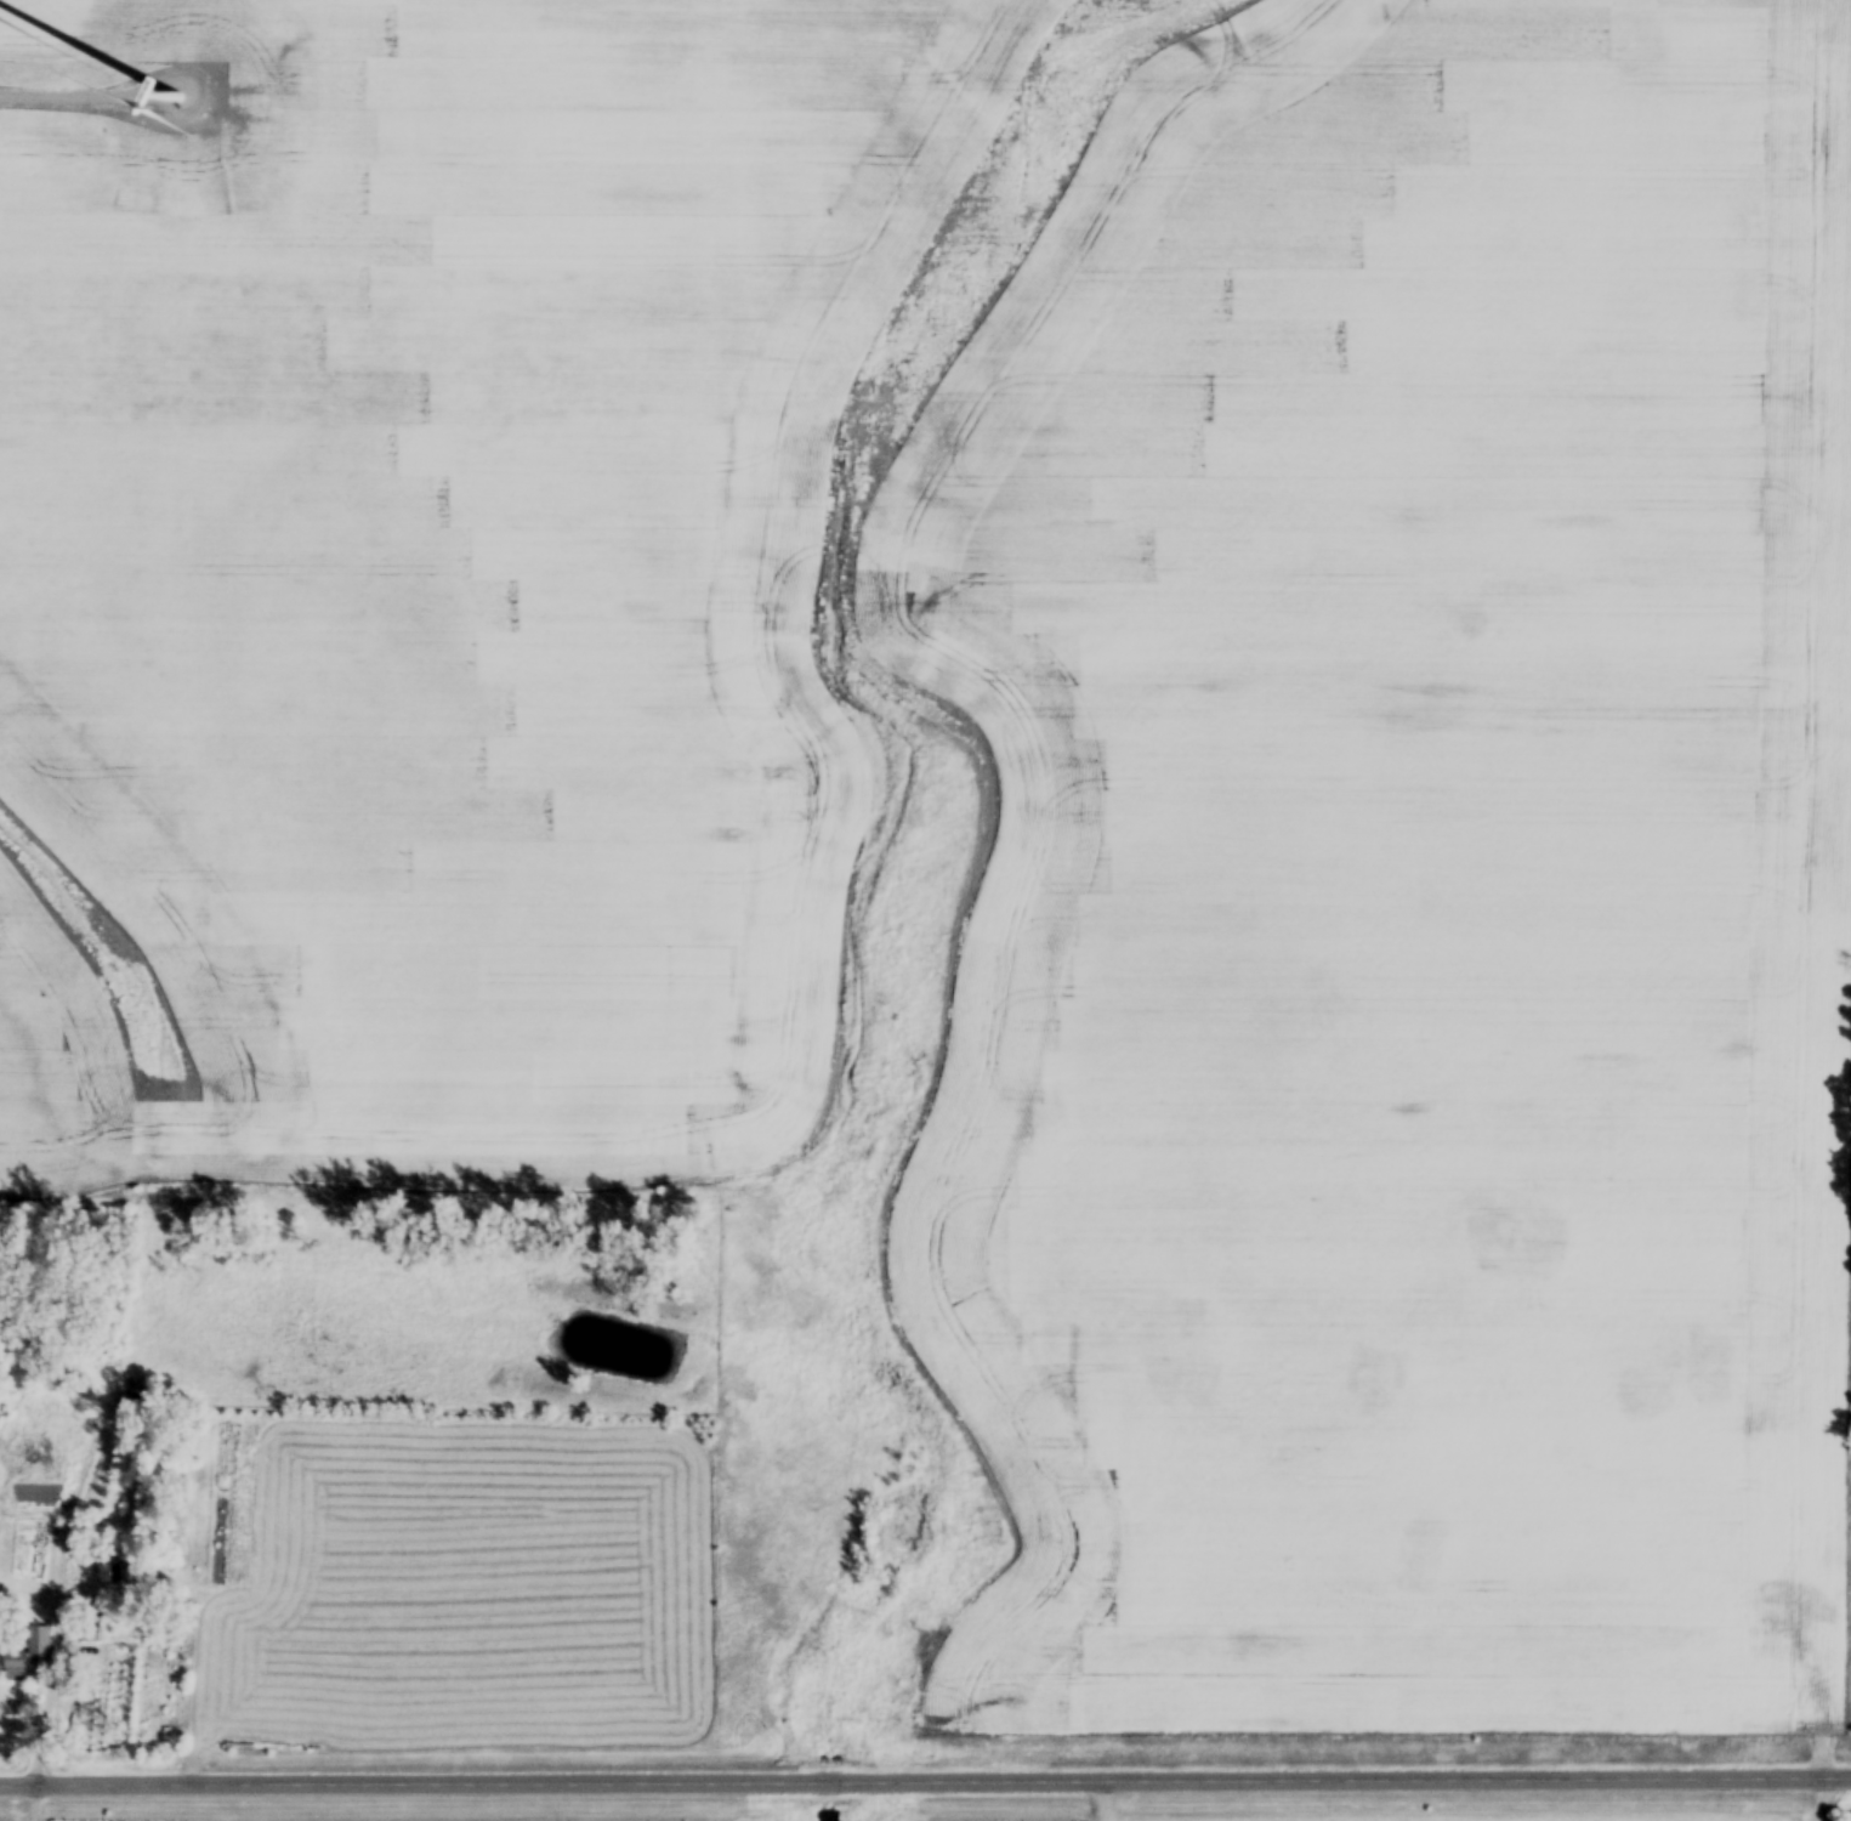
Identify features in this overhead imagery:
wind turbine: (177, 103)
building: (123, 1577)
building: (29, 1660)
road: (925, 1788)

